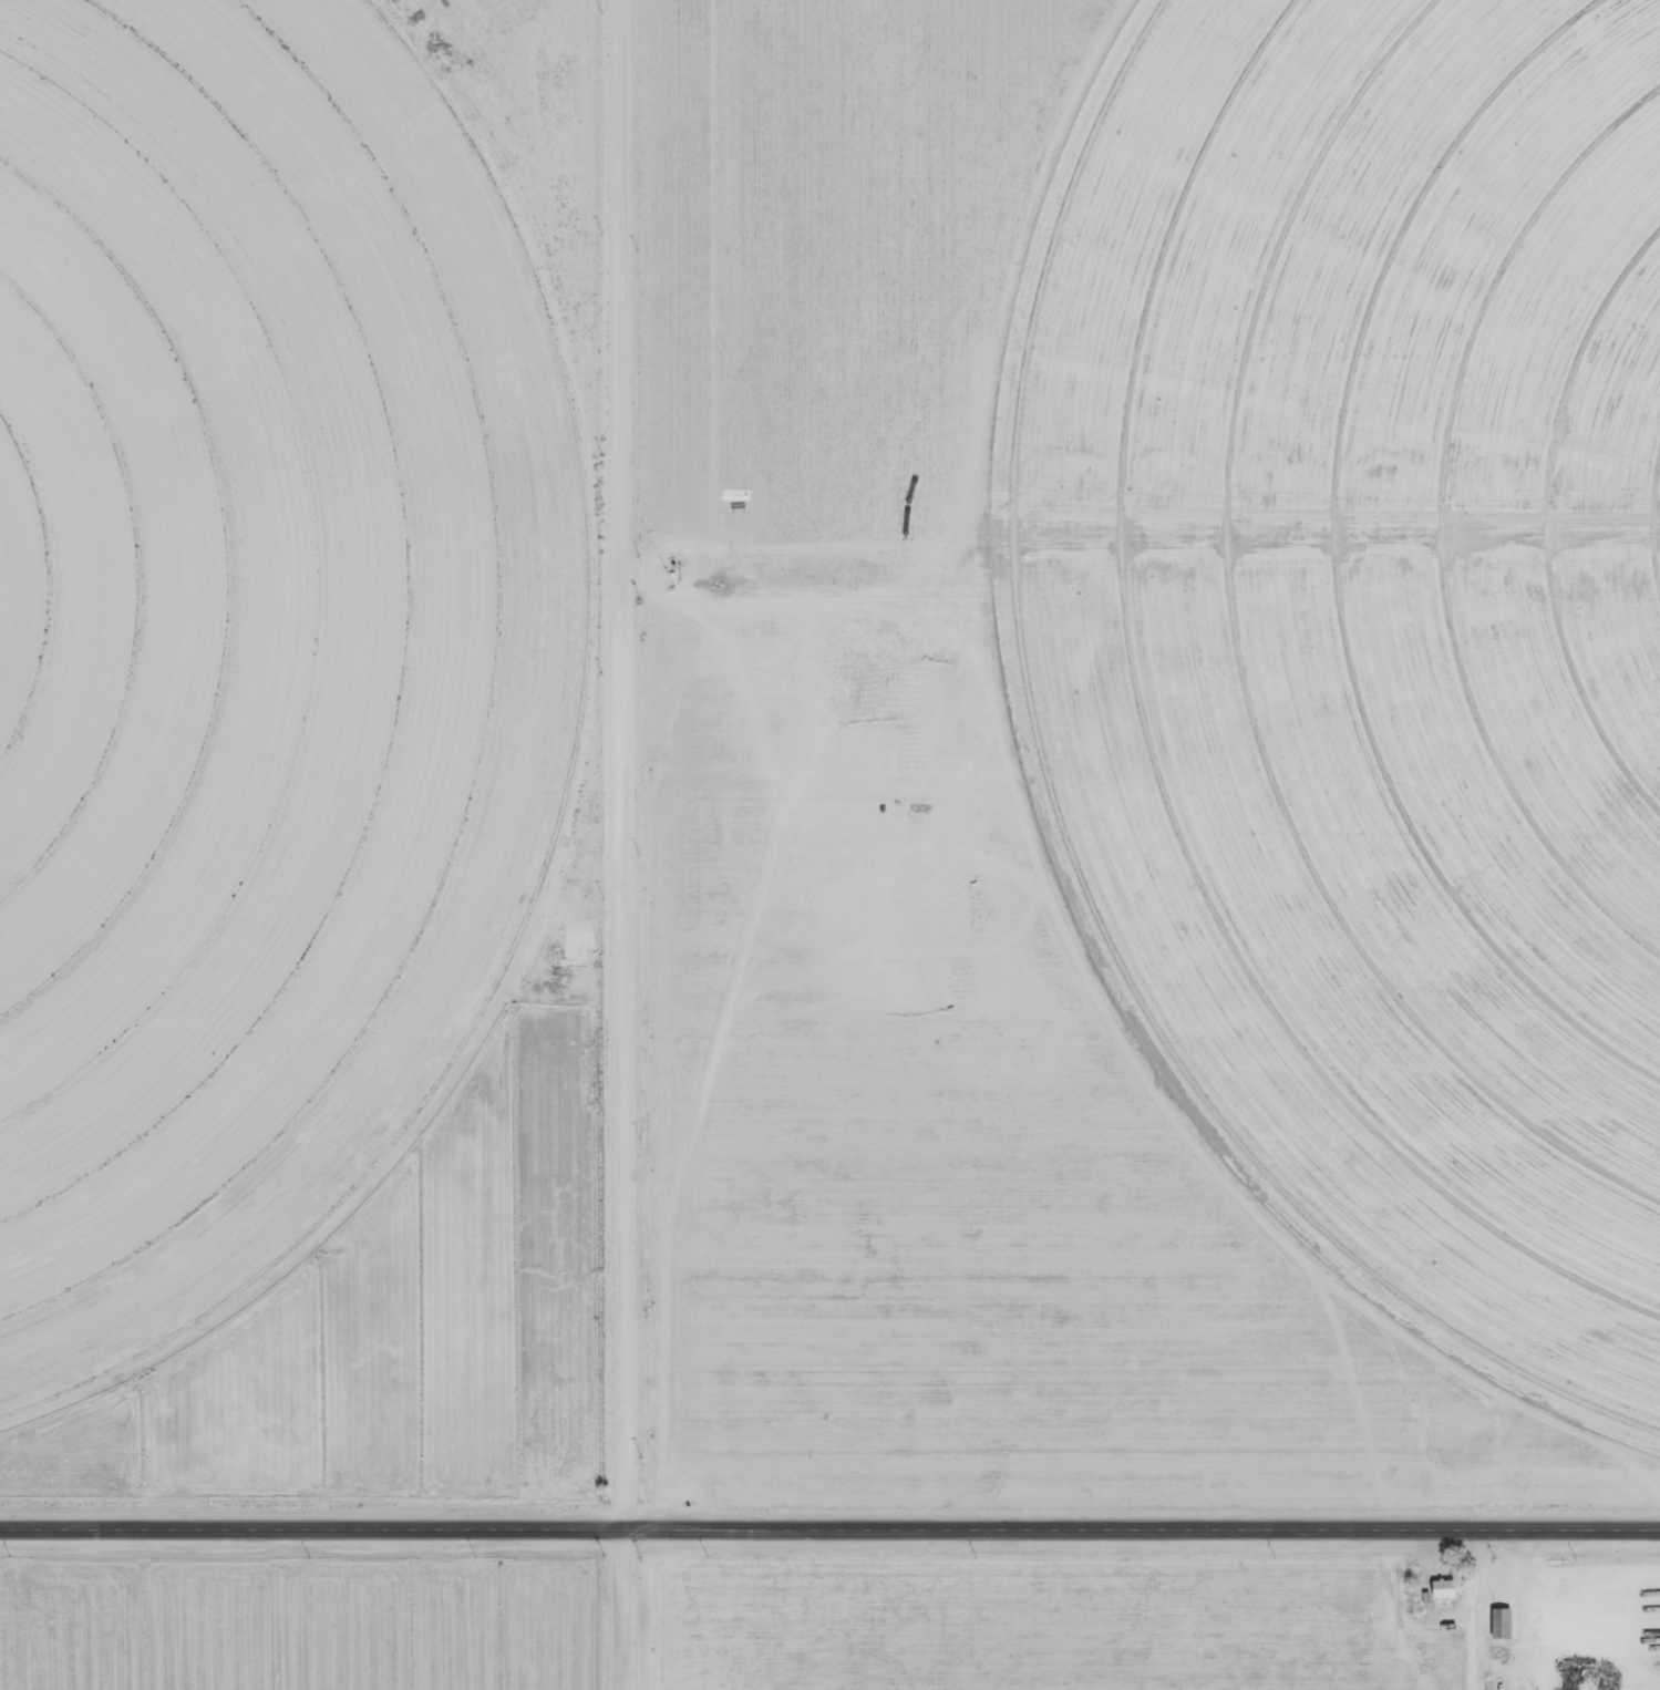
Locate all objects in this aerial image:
road: (782, 594)
crop: (1372, 631)
crop: (250, 640)
road: (619, 844)
road: (829, 1534)
building: (1446, 1589)
building: (1504, 1624)

